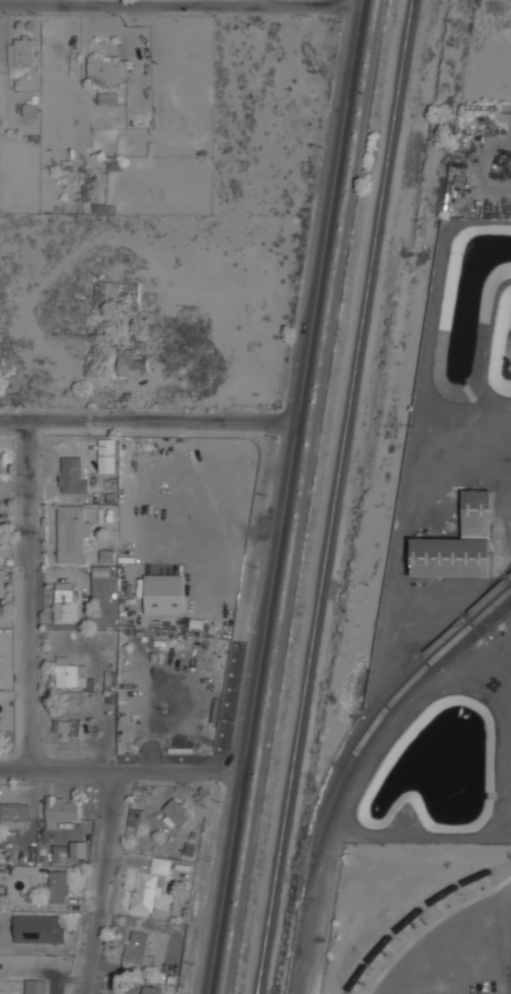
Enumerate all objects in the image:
road: (260, 3)
road: (179, 5)
building: (22, 50)
building: (107, 68)
building: (109, 98)
building: (31, 109)
building: (132, 362)
road: (148, 419)
building: (0, 454)
building: (108, 456)
building: (73, 475)
road: (284, 496)
road: (305, 497)
railway: (335, 497)
building: (72, 532)
building: (461, 543)
building: (106, 555)
building: (1, 577)
building: (102, 586)
building: (165, 593)
road: (29, 595)
building: (66, 606)
building: (72, 672)
building: (112, 680)
building: (68, 727)
road: (120, 773)
building: (62, 809)
building: (179, 814)
building: (15, 815)
building: (137, 818)
building: (80, 849)
building: (61, 852)
road: (105, 884)
building: (150, 884)
building: (59, 886)
railway: (415, 911)
building: (40, 929)
building: (138, 949)
building: (36, 986)
building: (152, 990)

